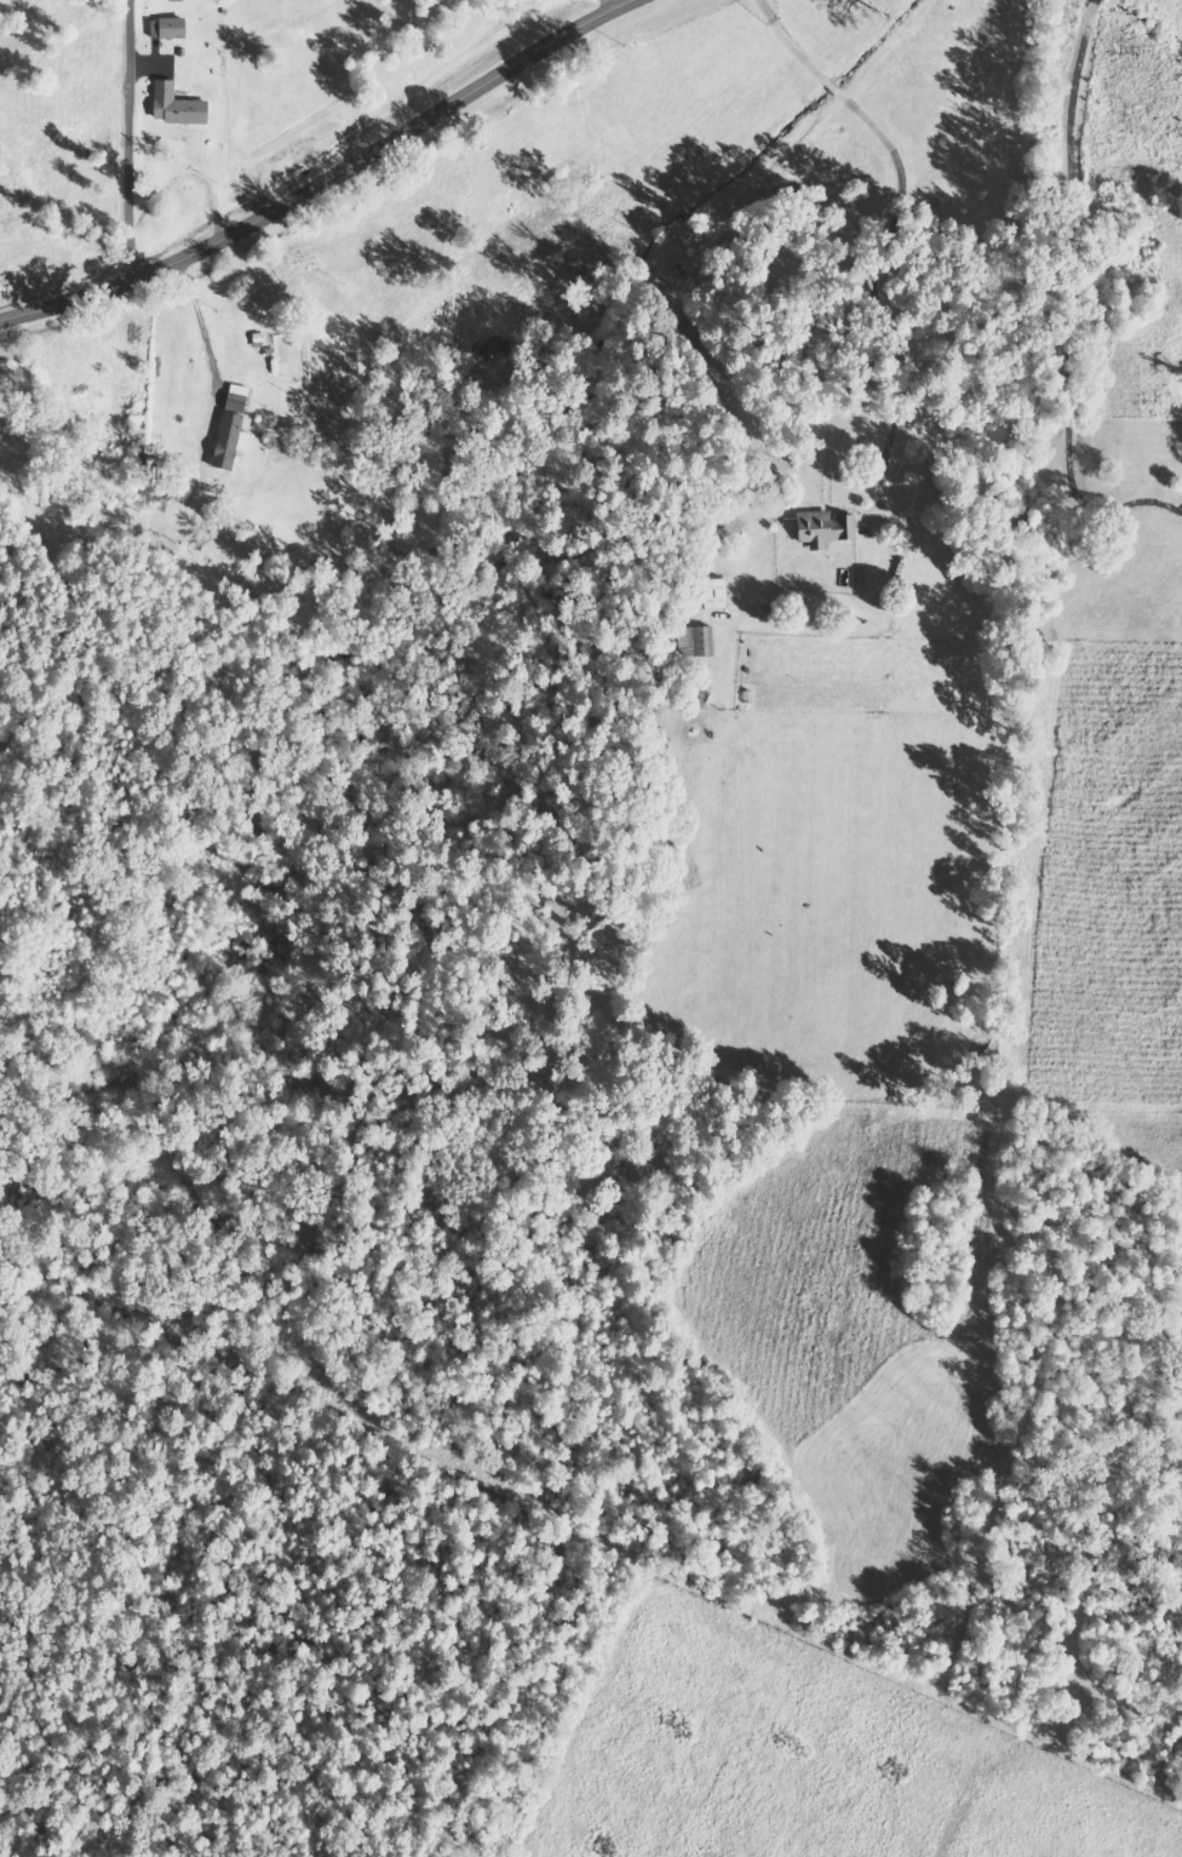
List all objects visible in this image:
building: (167, 29)
building: (176, 108)
road: (127, 142)
road: (327, 180)
road: (207, 320)
road: (1088, 327)
building: (5, 385)
building: (230, 429)
building: (822, 529)
building: (713, 596)
building: (694, 642)

